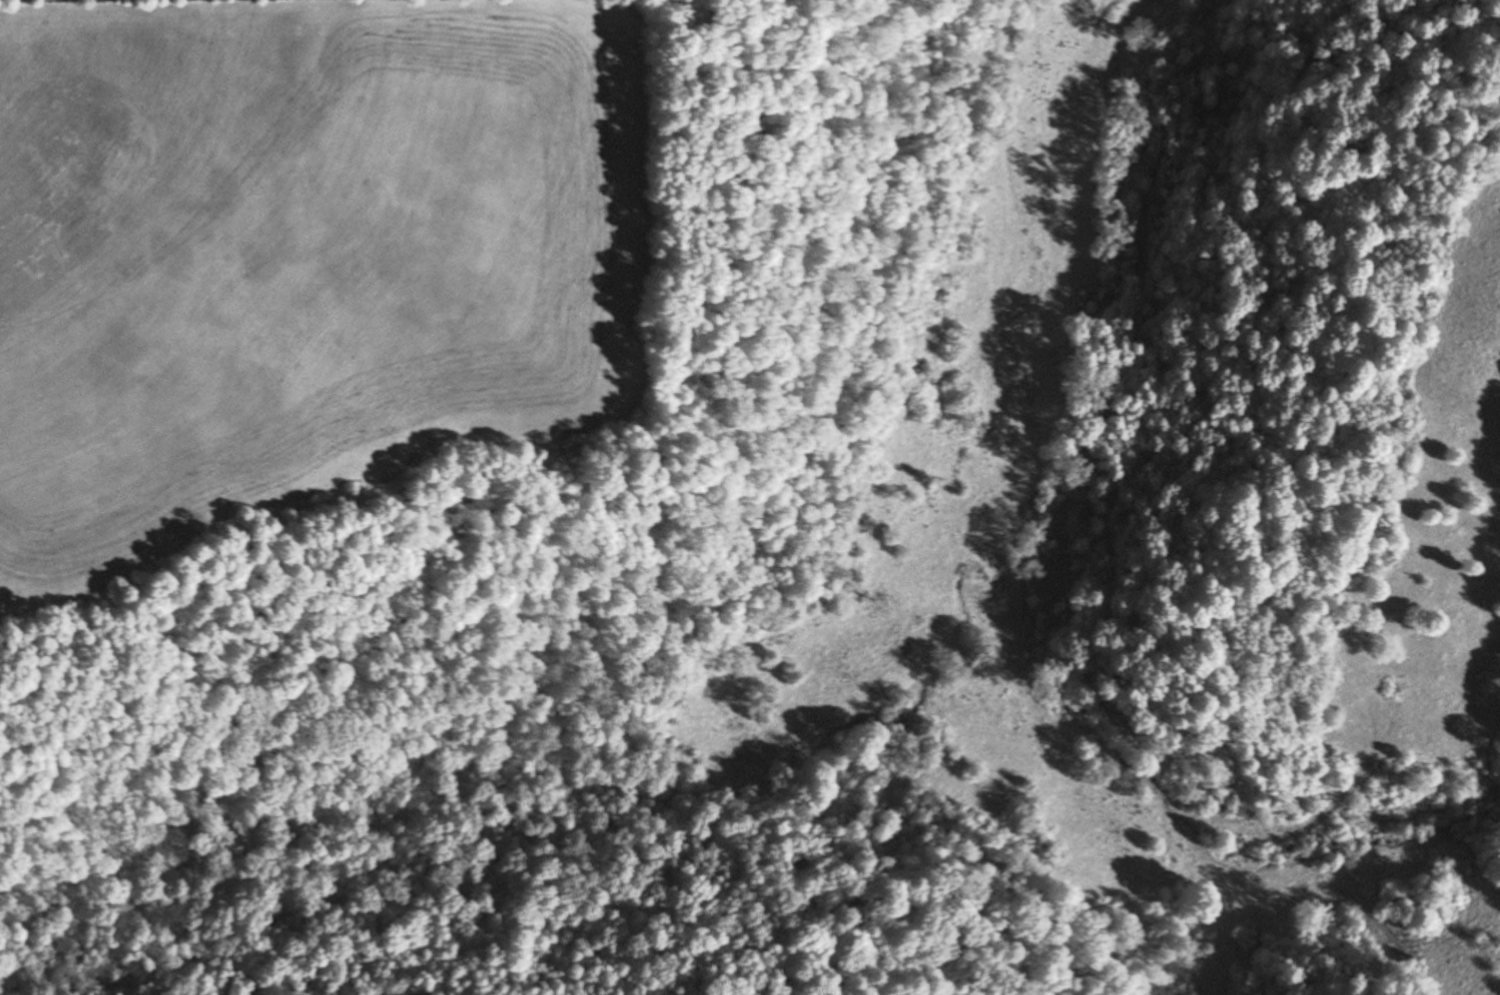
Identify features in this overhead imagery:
crop: (299, 259)

